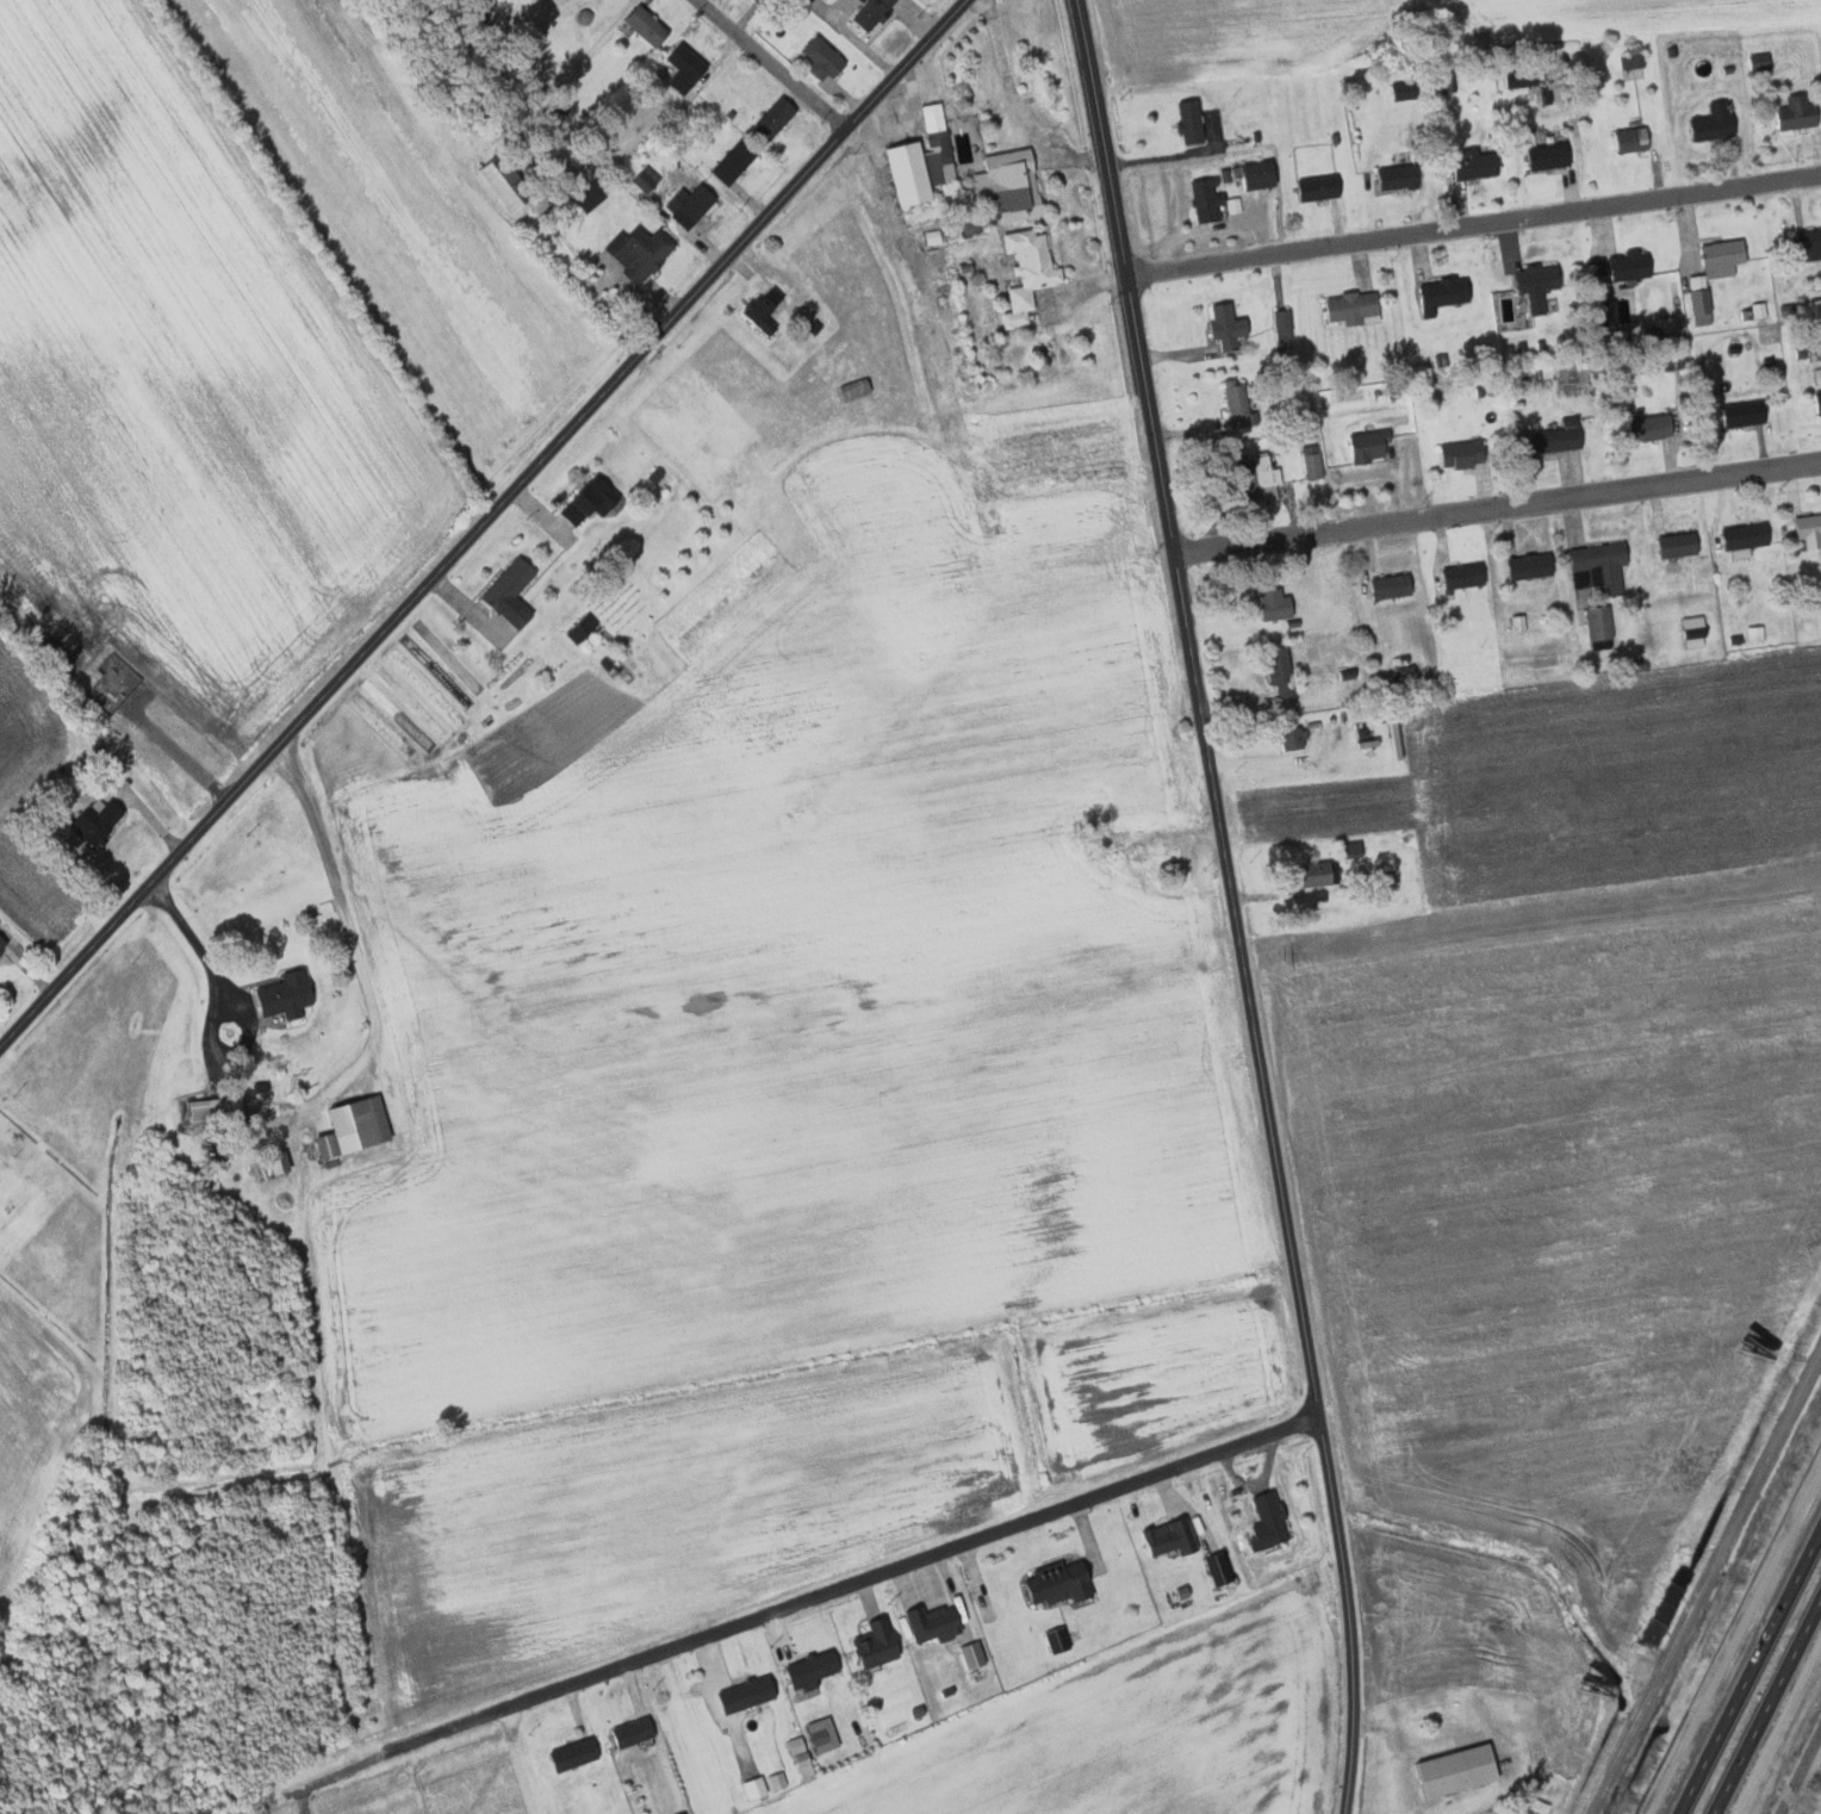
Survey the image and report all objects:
building: (757, 0)
building: (857, 0)
building: (866, 13)
building: (644, 25)
building: (816, 57)
building: (1628, 61)
road: (775, 63)
building: (680, 68)
building: (1437, 80)
building: (1398, 91)
road: (1017, 104)
building: (1792, 113)
building: (769, 119)
building: (1185, 122)
building: (1707, 124)
building: (1624, 139)
building: (934, 143)
building: (1543, 156)
road: (820, 157)
building: (728, 163)
building: (1467, 164)
building: (902, 173)
building: (1251, 174)
building: (1391, 178)
building: (1006, 185)
building: (1312, 187)
building: (583, 197)
building: (1201, 201)
building: (685, 205)
road: (1474, 224)
building: (1807, 243)
building: (639, 253)
building: (1618, 266)
building: (1024, 273)
building: (1707, 275)
building: (1531, 285)
building: (1436, 294)
building: (1345, 307)
building: (758, 309)
building: (1753, 311)
building: (1279, 325)
building: (1223, 327)
road: (1143, 367)
building: (852, 389)
building: (1233, 403)
building: (1815, 403)
building: (1736, 414)
building: (1640, 428)
building: (1546, 440)
building: (1361, 447)
building: (1455, 454)
building: (1309, 461)
building: (1253, 478)
building: (593, 499)
road: (1498, 505)
building: (1806, 529)
building: (1739, 536)
building: (1672, 545)
building: (1523, 566)
building: (1593, 567)
building: (1459, 576)
building: (1386, 586)
building: (515, 590)
building: (1269, 604)
building: (1817, 617)
building: (1595, 622)
building: (1689, 632)
building: (1752, 633)
building: (1276, 672)
road: (336, 678)
building: (1289, 738)
building: (102, 819)
building: (1313, 872)
building: (4, 943)
road: (354, 944)
building: (290, 994)
road: (223, 1001)
road: (1262, 1075)
building: (219, 1108)
building: (359, 1126)
building: (1262, 1521)
building: (1163, 1536)
building: (1213, 1568)
building: (1065, 1583)
road: (845, 1585)
road: (1707, 1585)
road: (1350, 1614)
building: (938, 1623)
building: (1062, 1640)
building: (880, 1642)
road: (1746, 1664)
building: (815, 1669)
building: (751, 1694)
road: (1773, 1715)
building: (638, 1732)
building: (826, 1734)
building: (578, 1753)
building: (803, 1756)
building: (1448, 1770)
road: (1798, 1770)
road: (327, 1777)
building: (779, 1779)
building: (758, 1787)

